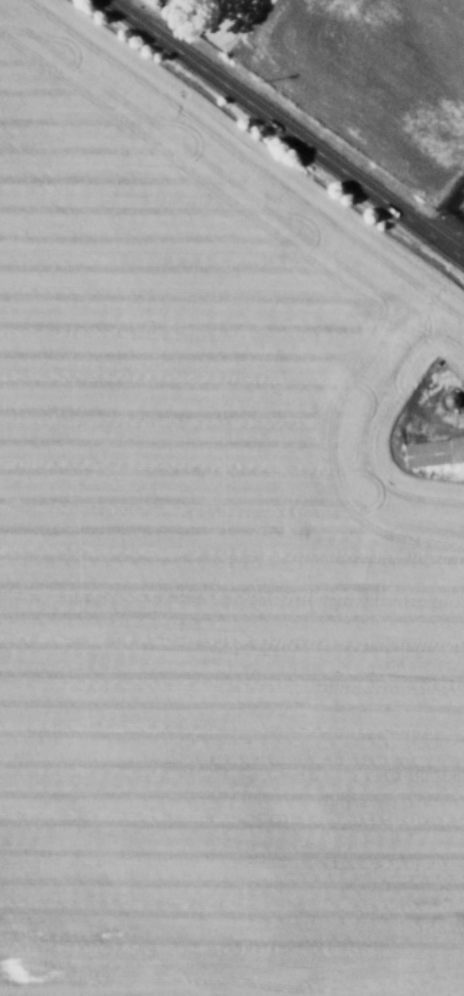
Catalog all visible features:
road: (164, 14)
crop: (358, 76)
road: (288, 128)
building: (461, 185)
power substation: (455, 200)
building: (463, 203)
road: (447, 212)
building: (452, 396)
silo: (452, 396)
building: (435, 447)
crop: (212, 558)

